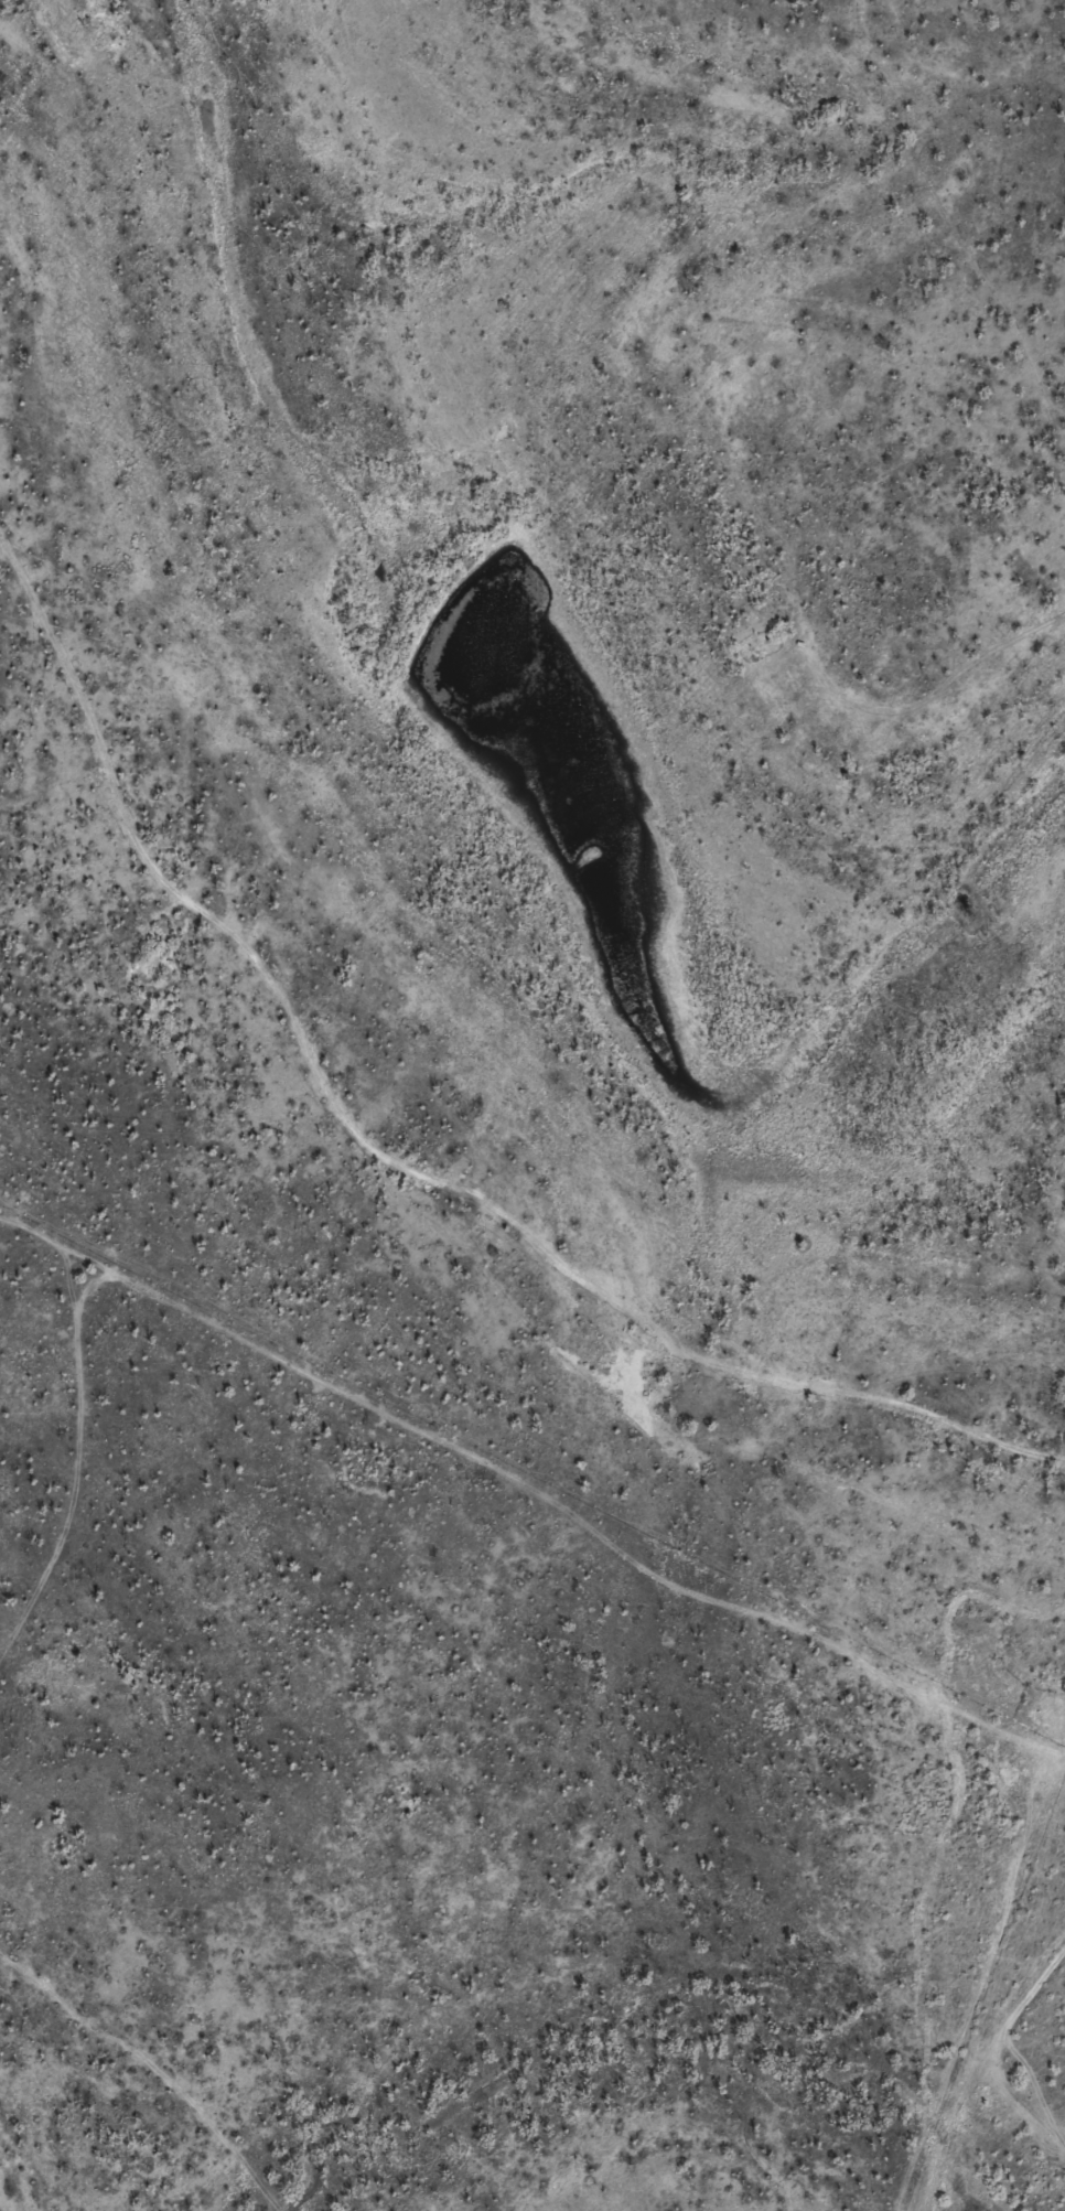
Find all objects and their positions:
road: (512, 1202)

